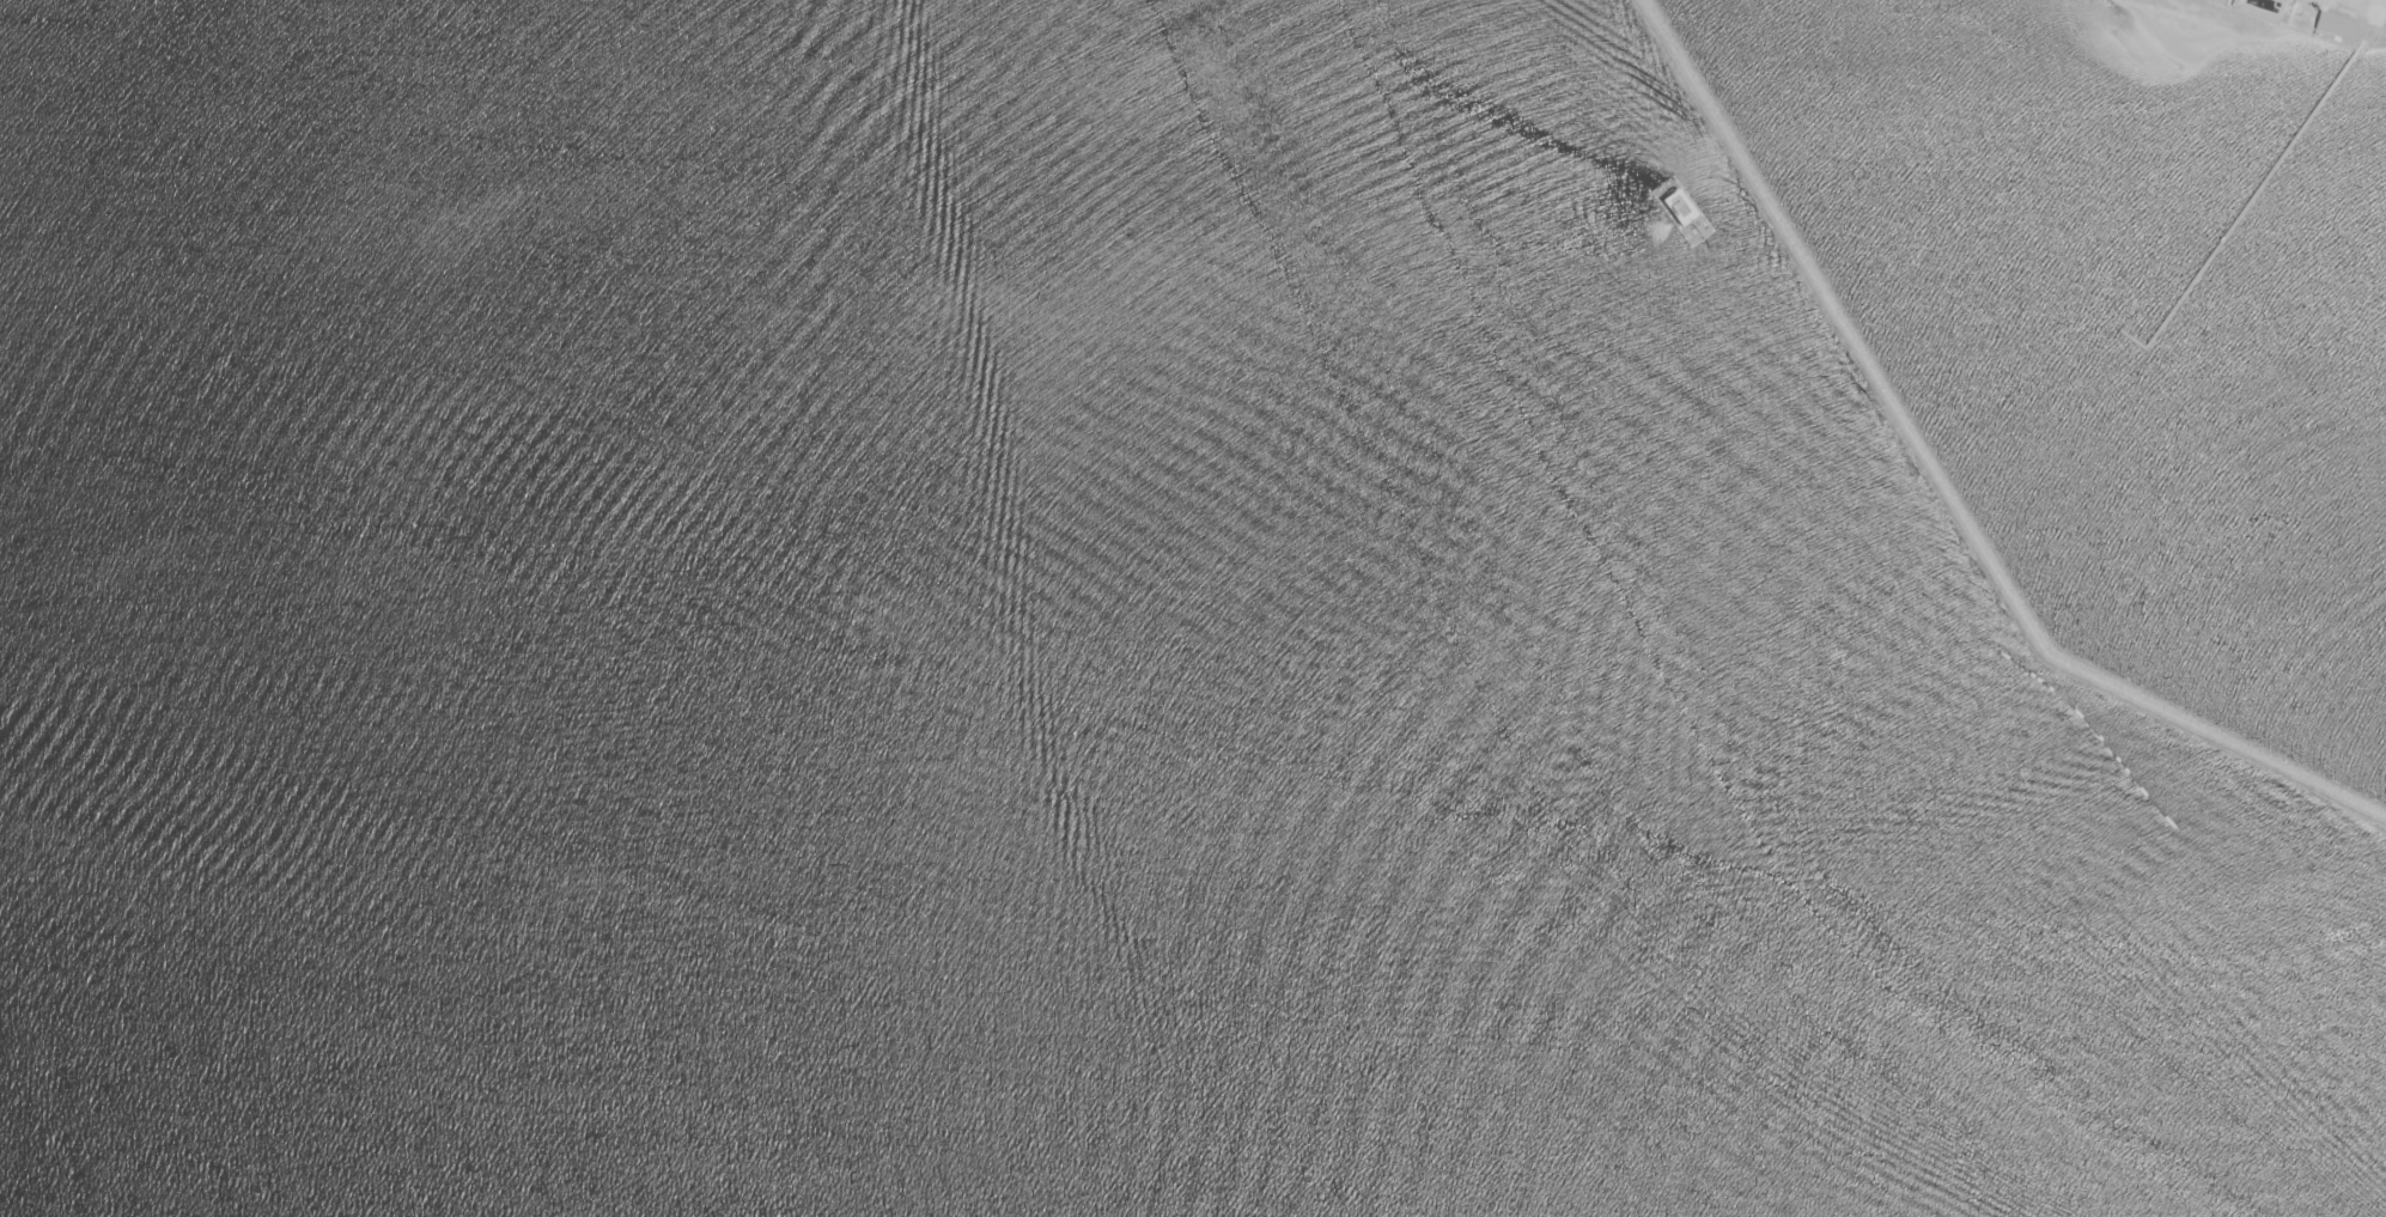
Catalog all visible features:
building: (2337, 23)

